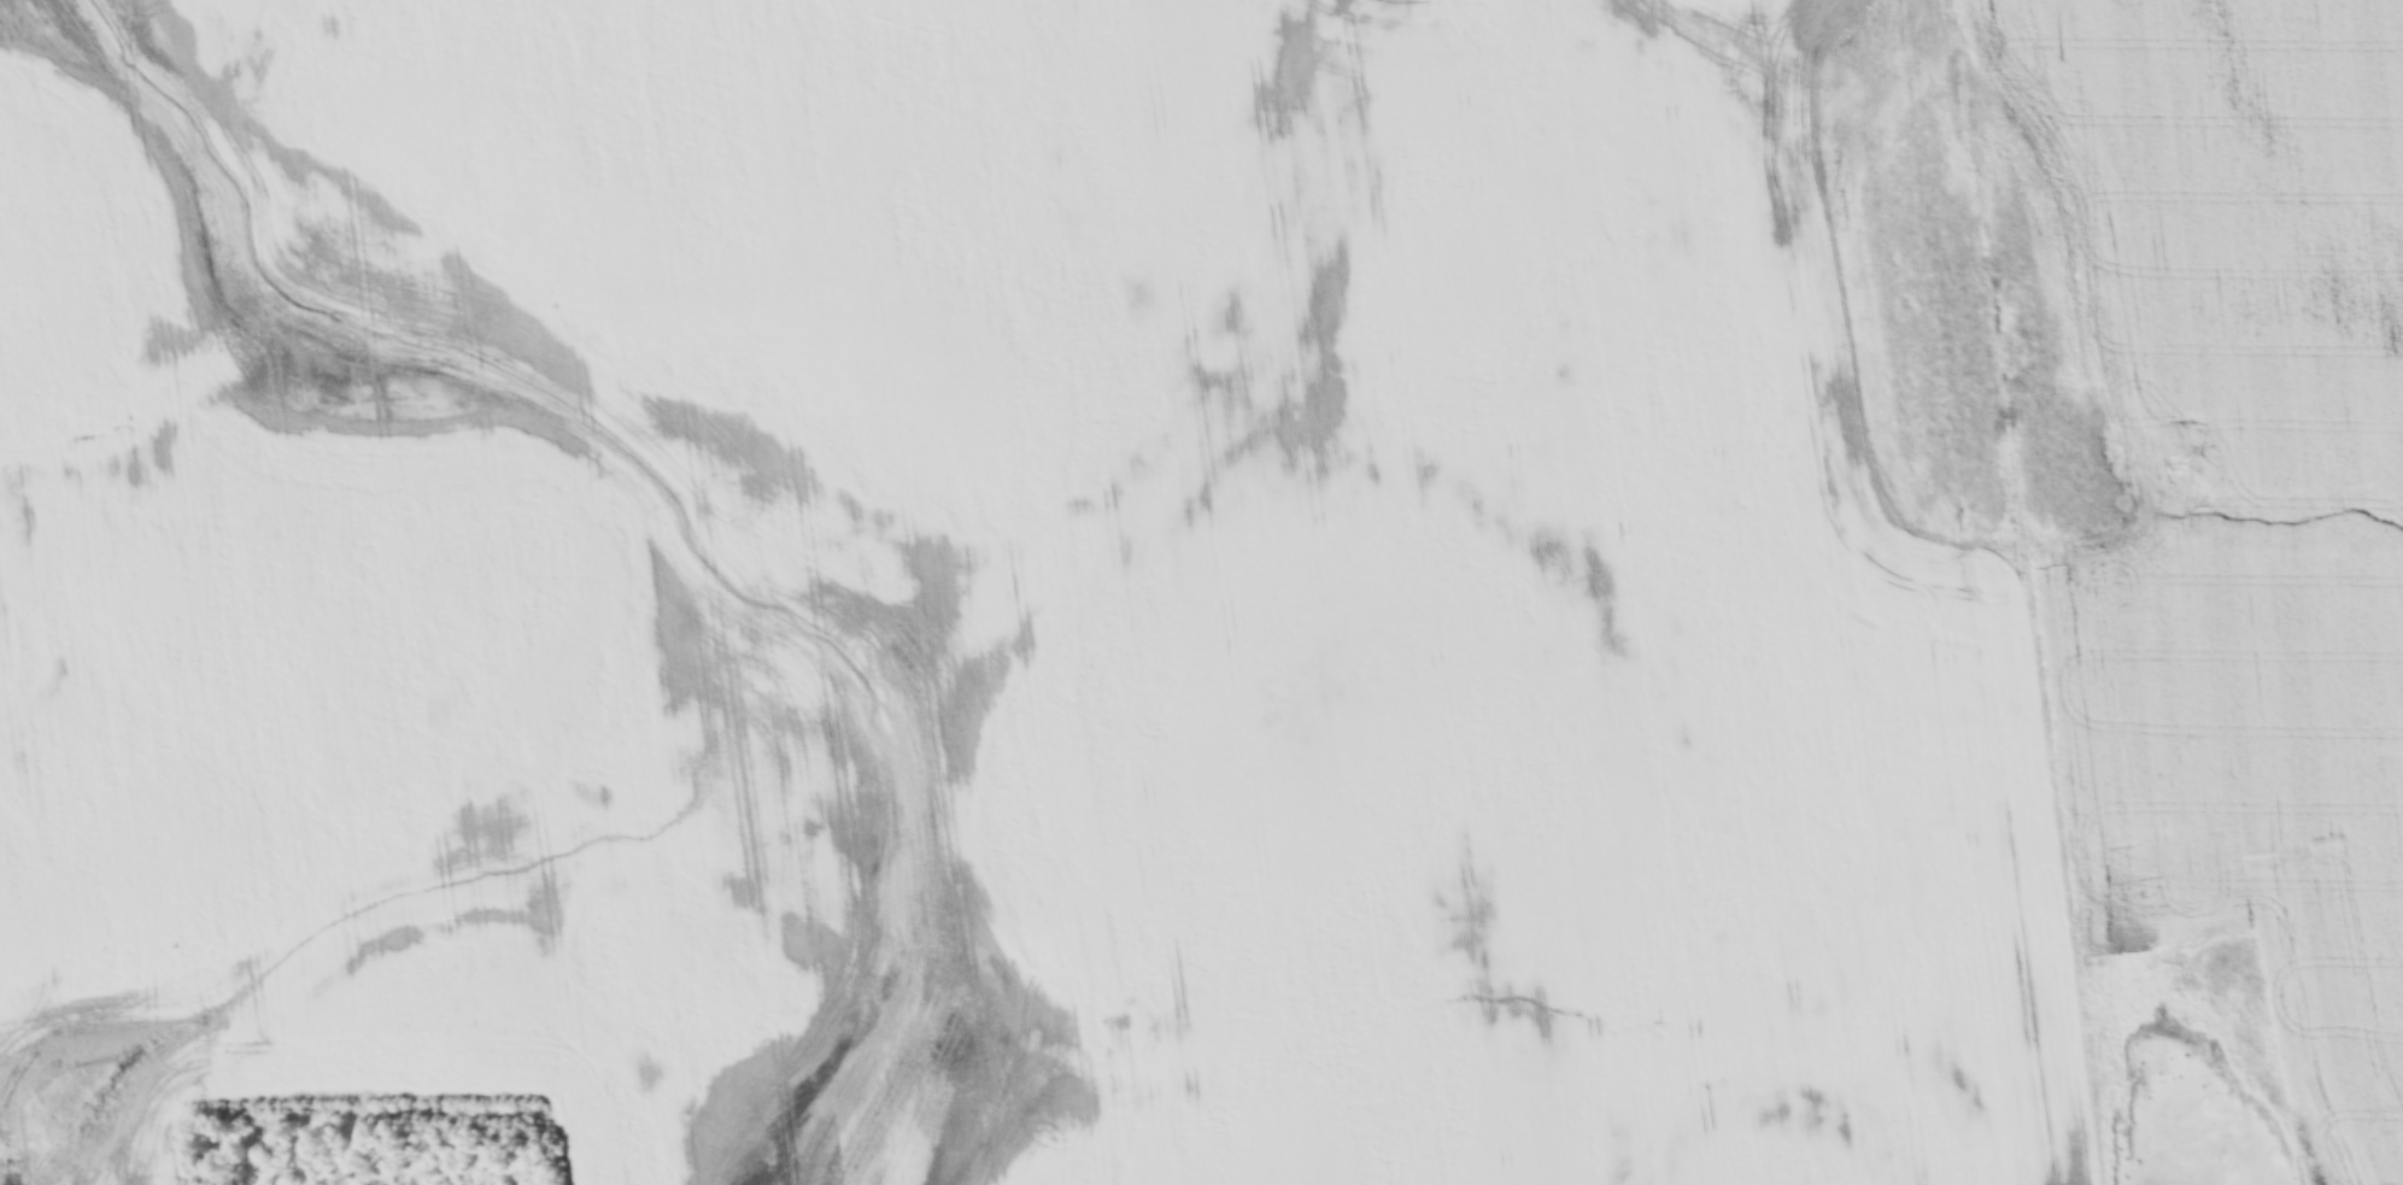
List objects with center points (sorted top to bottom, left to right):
power tower: (2180, 464)
power tower: (2191, 946)

